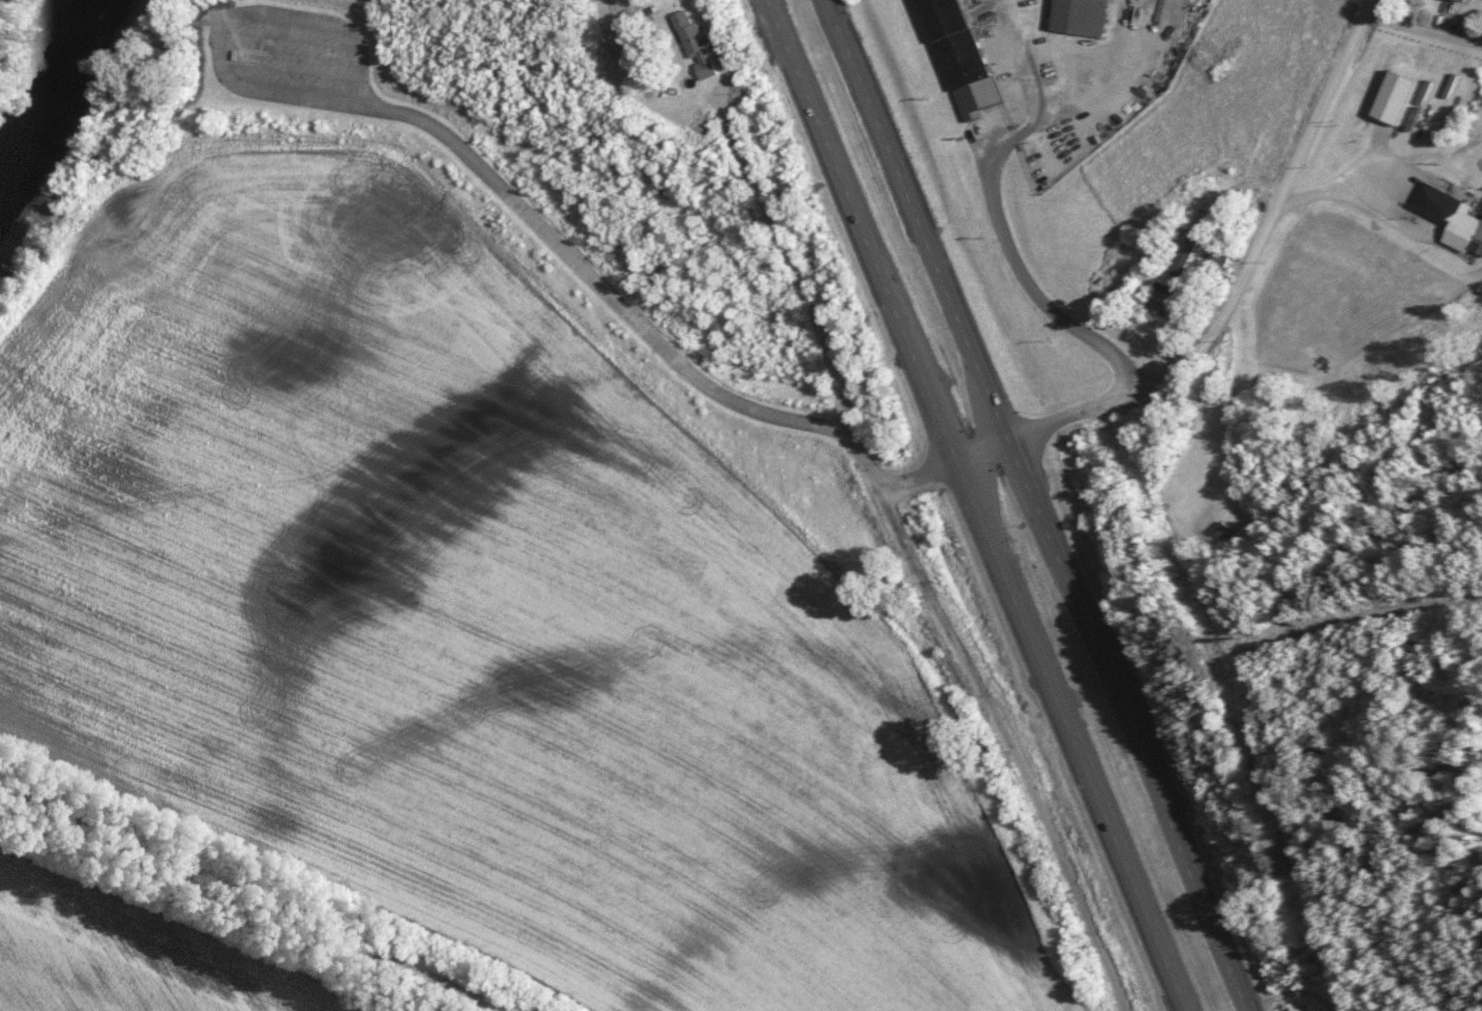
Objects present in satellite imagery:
building: (1105, 0)
building: (1455, 1)
road: (1423, 23)
road: (223, 25)
building: (698, 52)
building: (958, 57)
building: (1142, 71)
river: (50, 97)
building: (1391, 100)
building: (1433, 206)
road: (996, 207)
building: (1475, 242)
building: (1214, 255)
road: (1238, 268)
road: (797, 278)
building: (1157, 301)
road: (667, 353)
road: (975, 506)
road: (1034, 507)
building: (1217, 531)
road: (1292, 591)
crop: (477, 616)
road: (255, 900)
crop: (134, 951)
crop: (1317, 1004)

